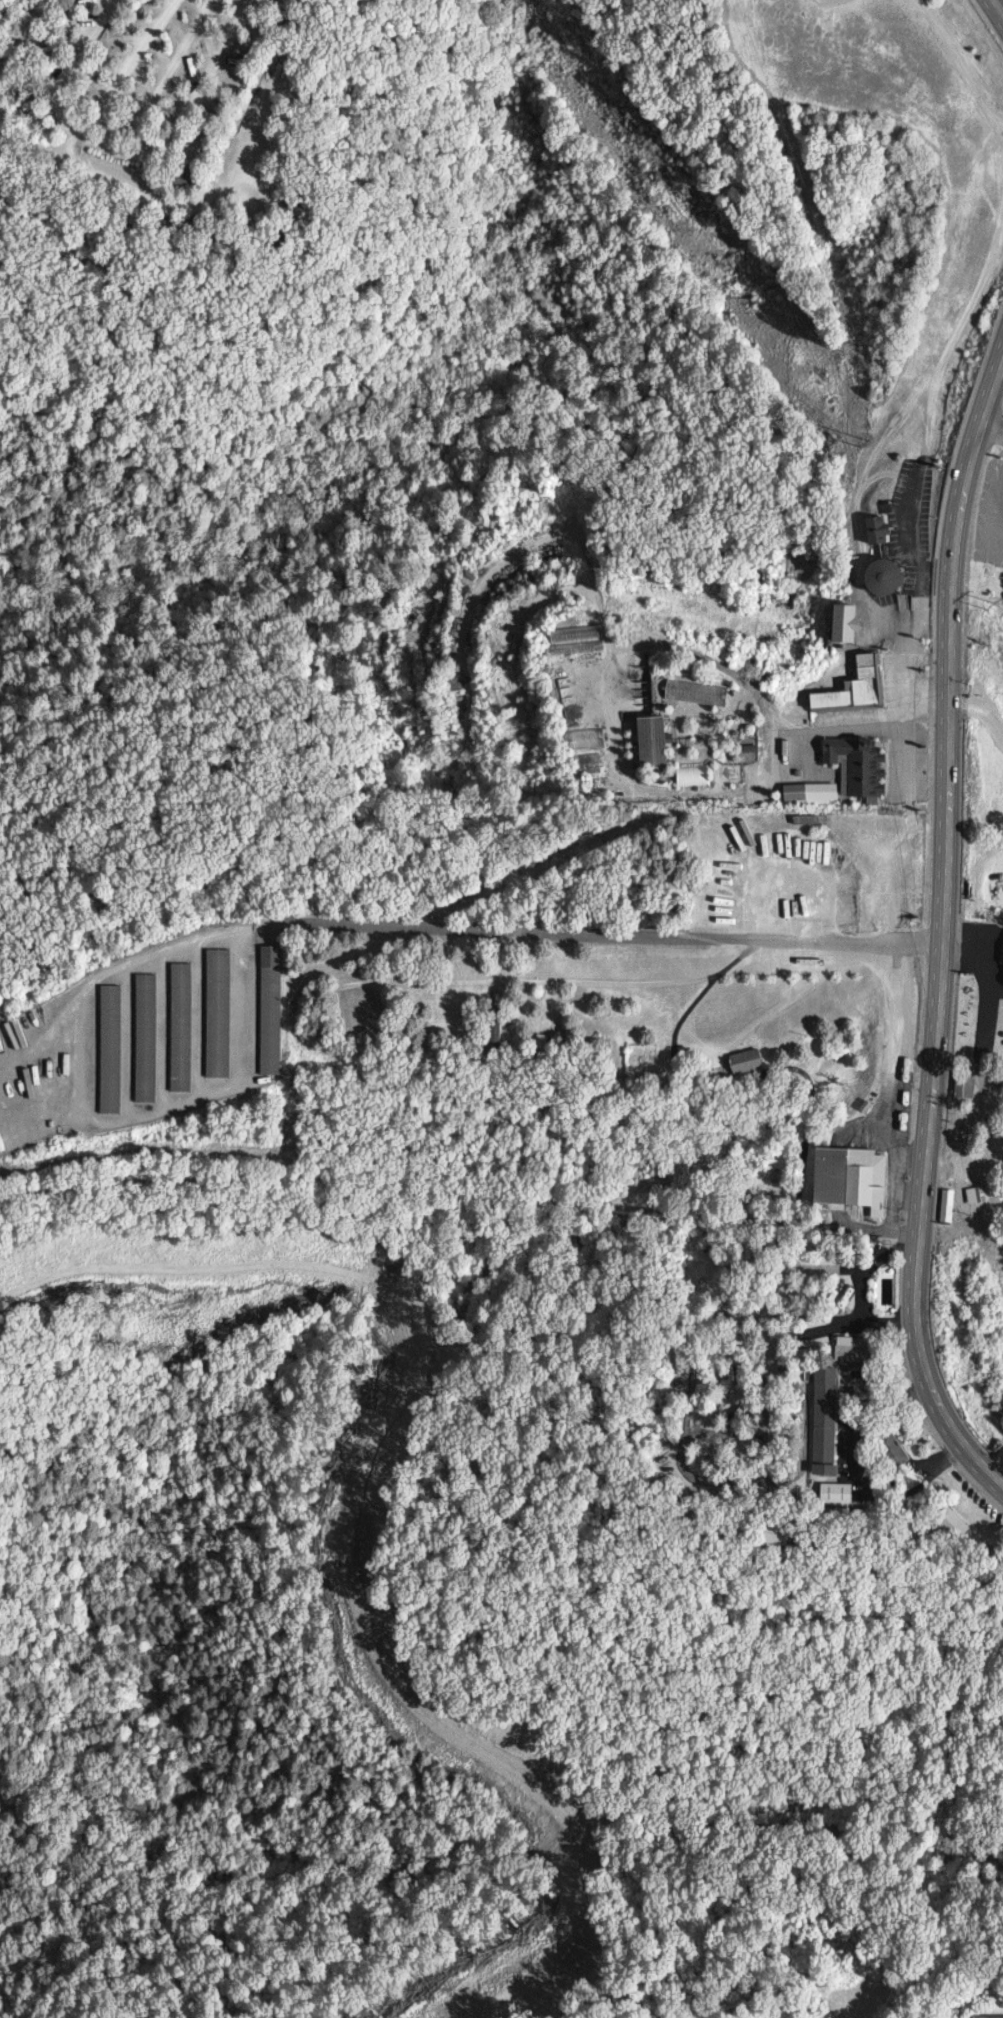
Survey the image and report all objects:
road: (998, 7)
road: (956, 62)
road: (131, 72)
road: (173, 78)
road: (189, 125)
road: (166, 214)
power tower: (830, 399)
road: (989, 422)
building: (875, 530)
building: (881, 577)
power tower: (993, 606)
building: (843, 621)
building: (852, 686)
building: (694, 692)
building: (649, 740)
building: (855, 765)
building: (810, 791)
road: (942, 928)
road: (665, 935)
building: (269, 1009)
building: (216, 1012)
building: (179, 1026)
building: (144, 1037)
building: (109, 1048)
road: (980, 1049)
building: (743, 1060)
road: (897, 1062)
building: (962, 1086)
building: (848, 1177)
road: (460, 1188)
road: (860, 1286)
road: (808, 1328)
building: (851, 1348)
building: (822, 1420)
building: (889, 1448)
building: (832, 1492)
building: (950, 1522)
building: (986, 2016)

